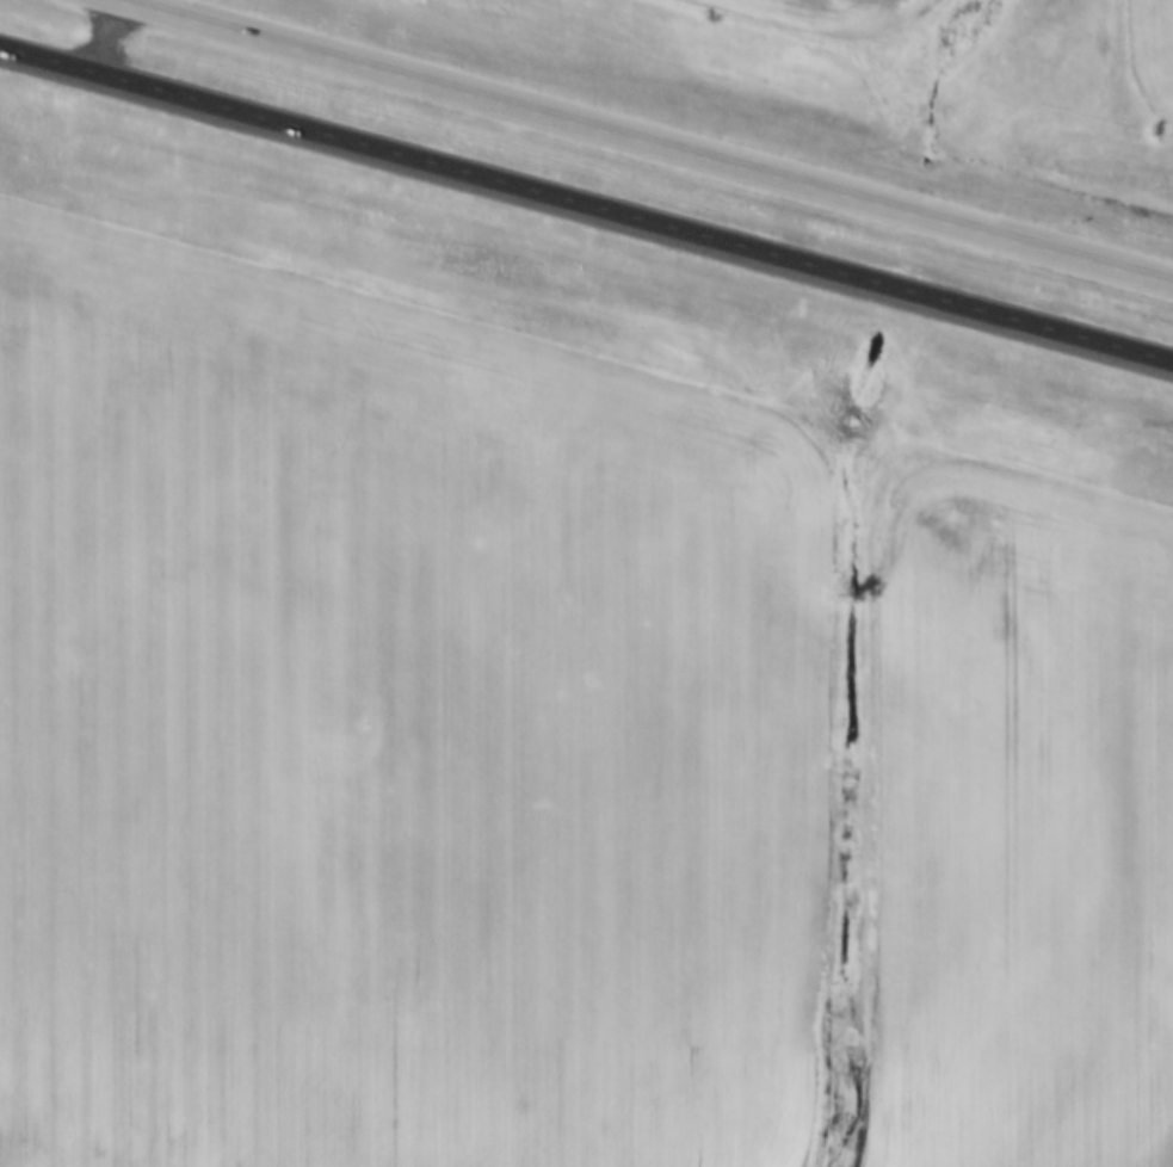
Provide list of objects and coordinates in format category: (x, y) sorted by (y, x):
road: (650, 140)
road: (586, 206)

